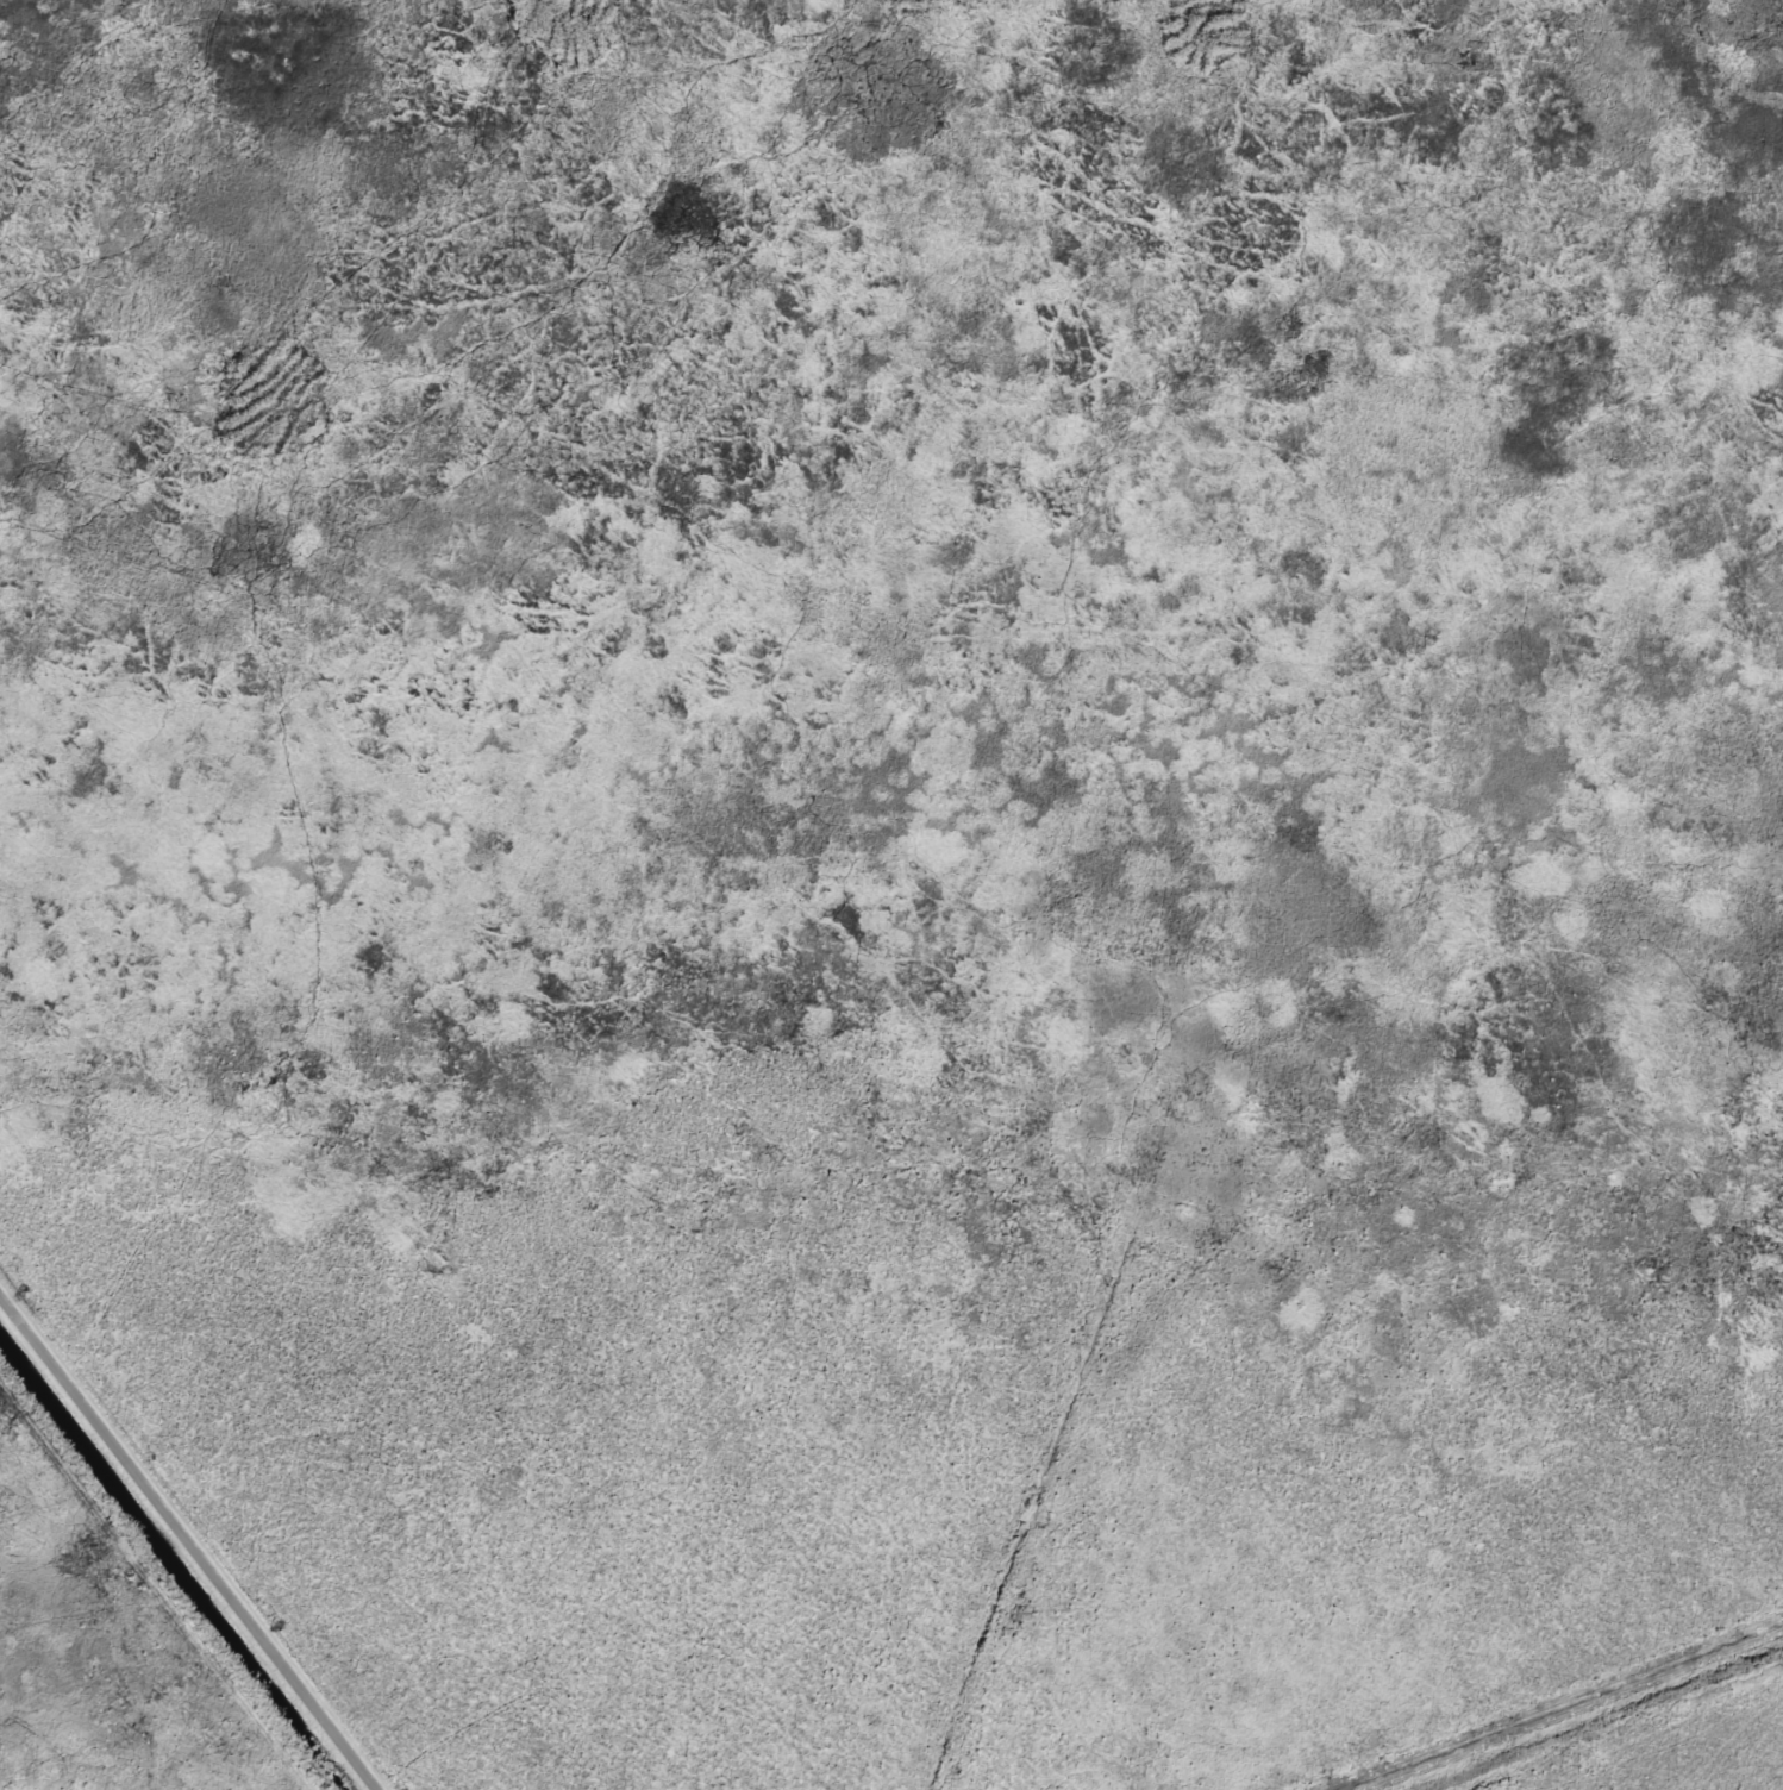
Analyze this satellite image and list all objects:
road: (187, 1539)

